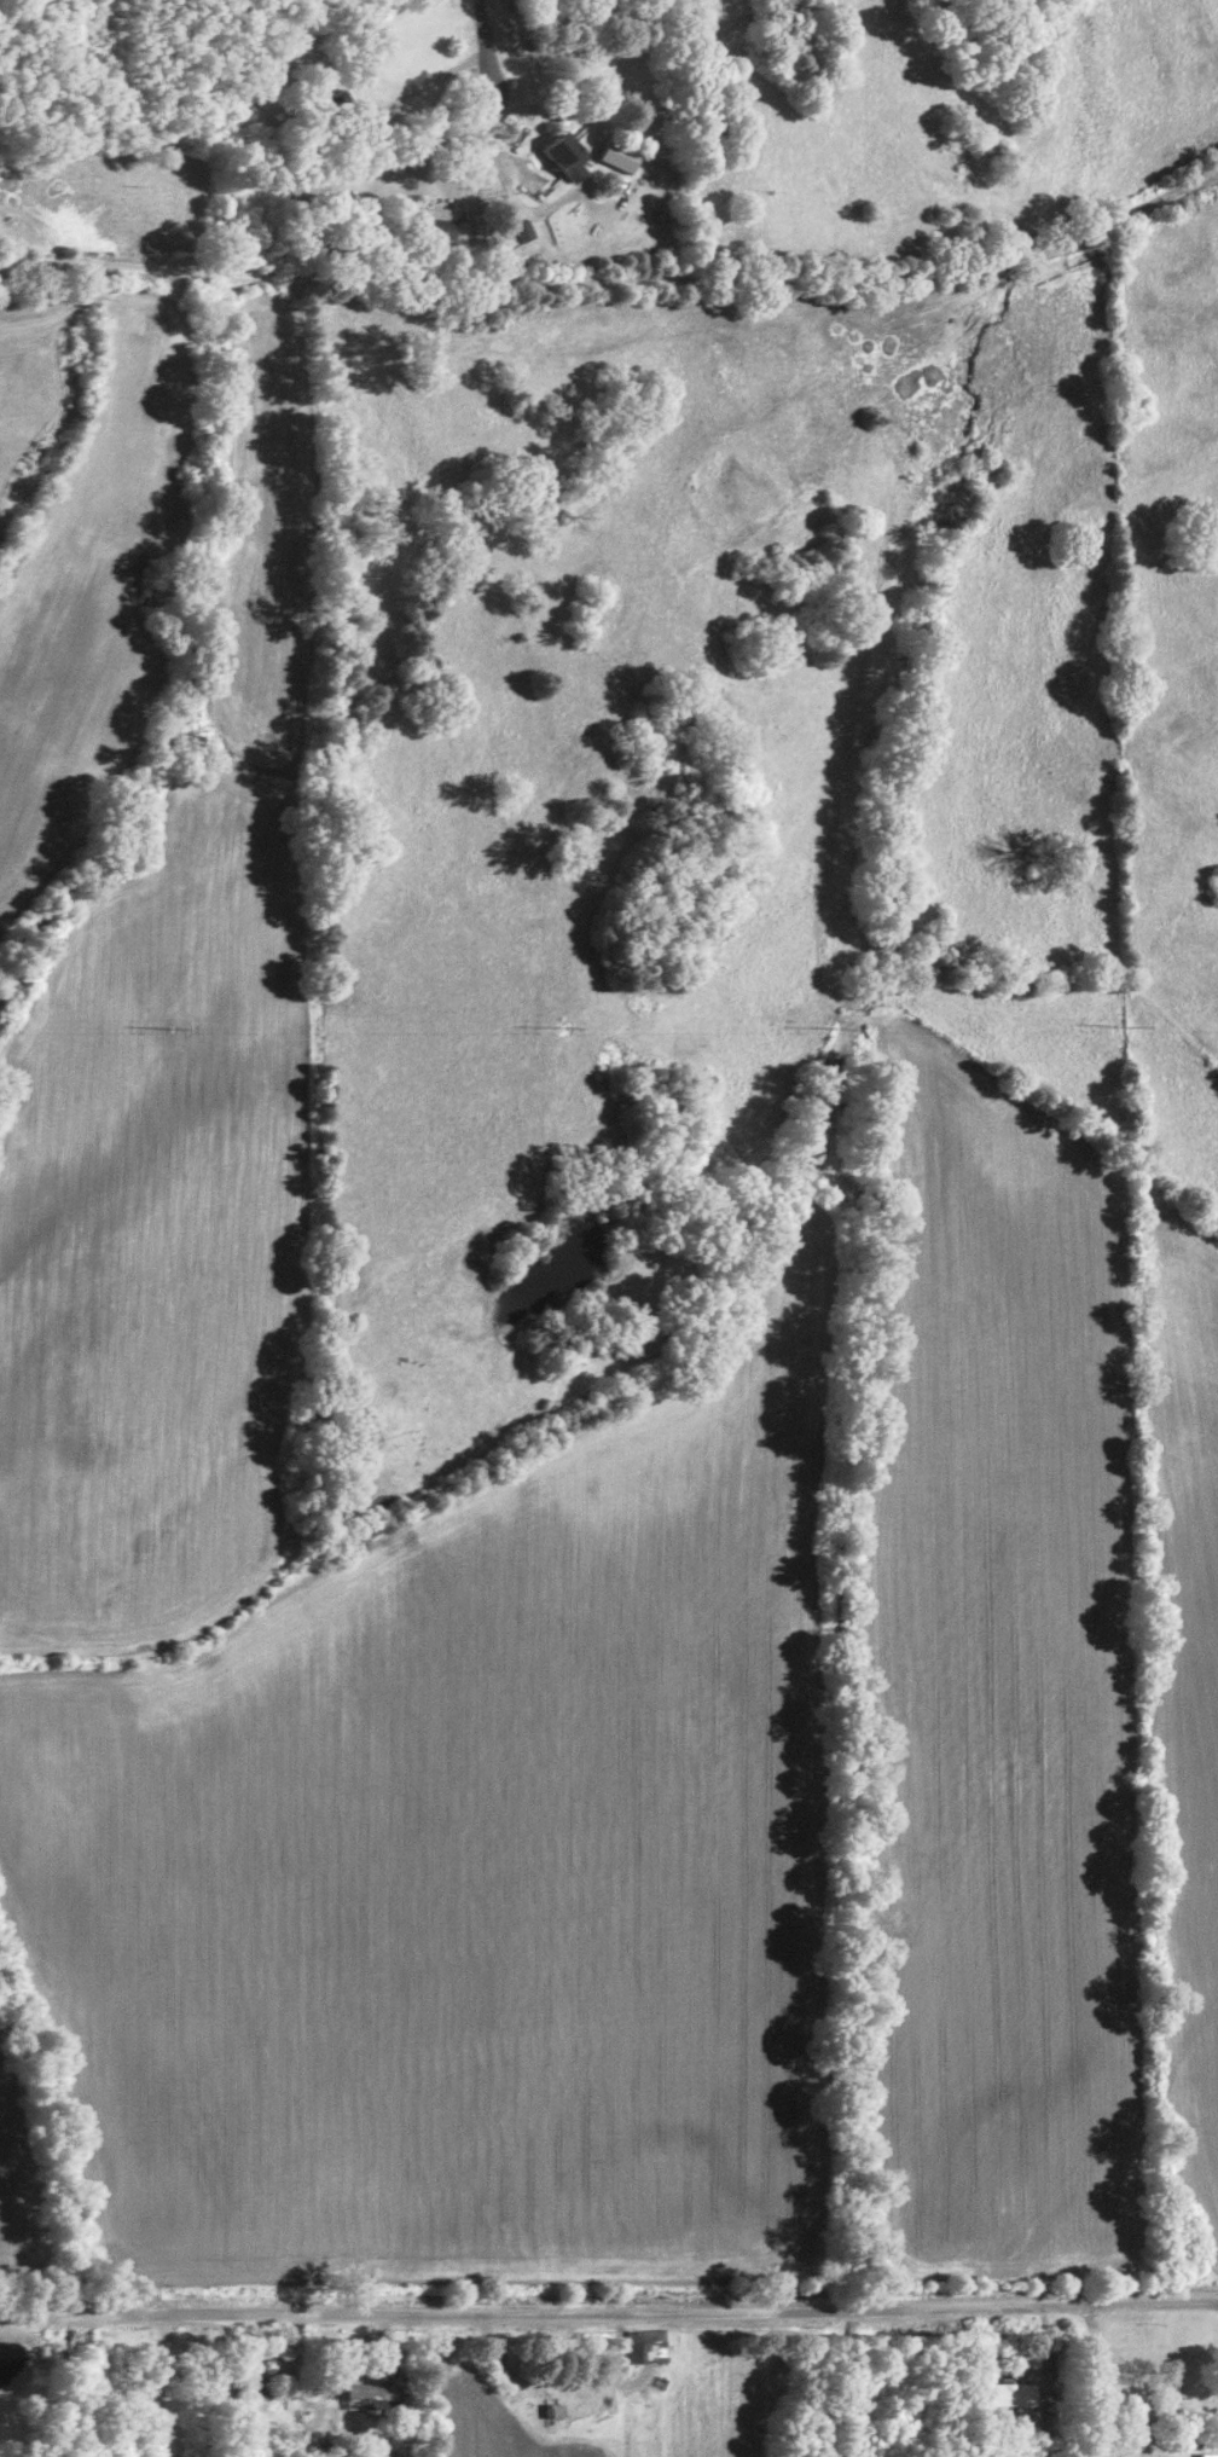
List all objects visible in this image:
road: (481, 50)
building: (616, 155)
building: (568, 158)
building: (661, 213)
building: (434, 226)
building: (521, 228)
road: (616, 280)
road: (608, 2305)
building: (645, 2343)
building: (369, 2393)
building: (1005, 2393)

